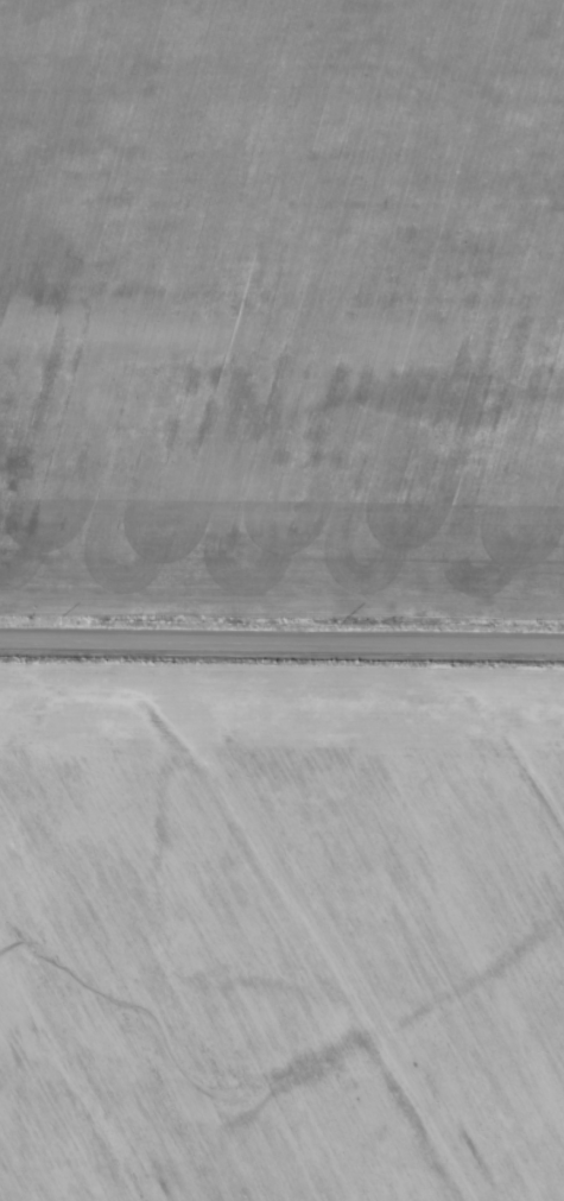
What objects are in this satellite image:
road: (281, 638)

